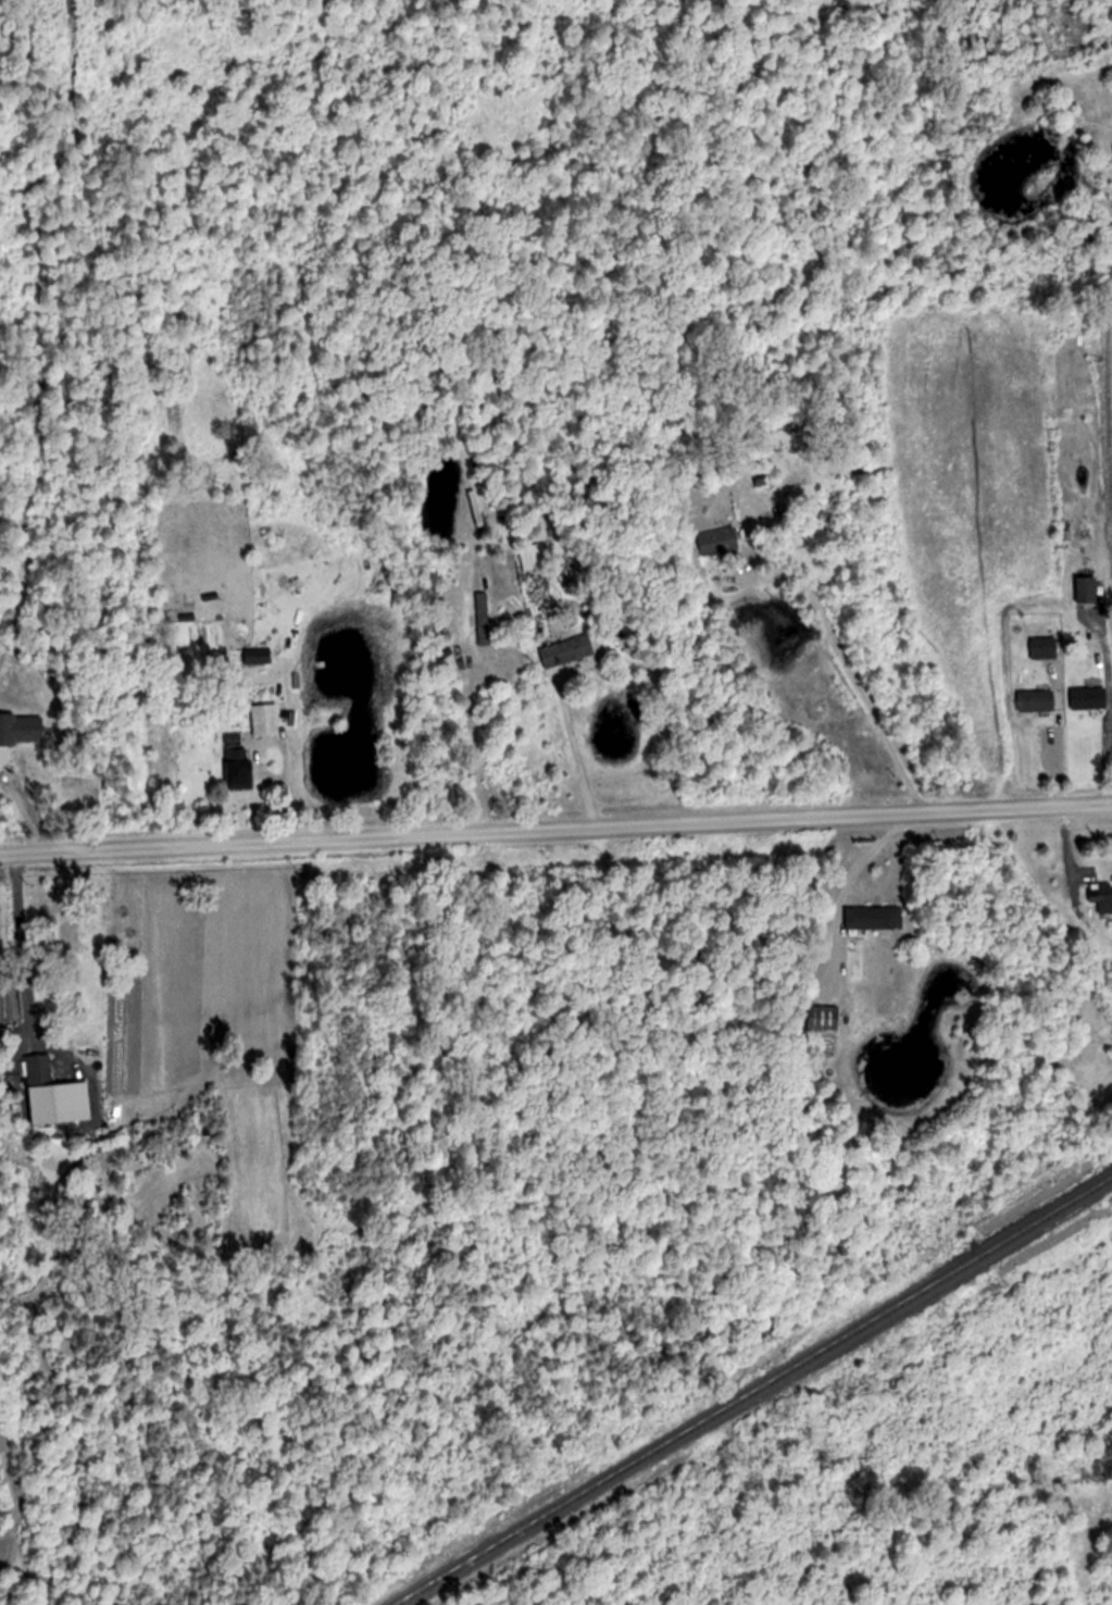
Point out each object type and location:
building: (719, 542)
building: (529, 557)
building: (1087, 590)
building: (566, 645)
building: (1044, 648)
building: (258, 657)
road: (850, 667)
building: (1088, 698)
building: (1036, 700)
building: (264, 720)
building: (233, 744)
road: (575, 752)
building: (239, 775)
road: (555, 825)
road: (844, 886)
building: (1101, 897)
building: (873, 918)
building: (71, 931)
building: (823, 1019)
building: (38, 1071)
railway: (752, 1392)

